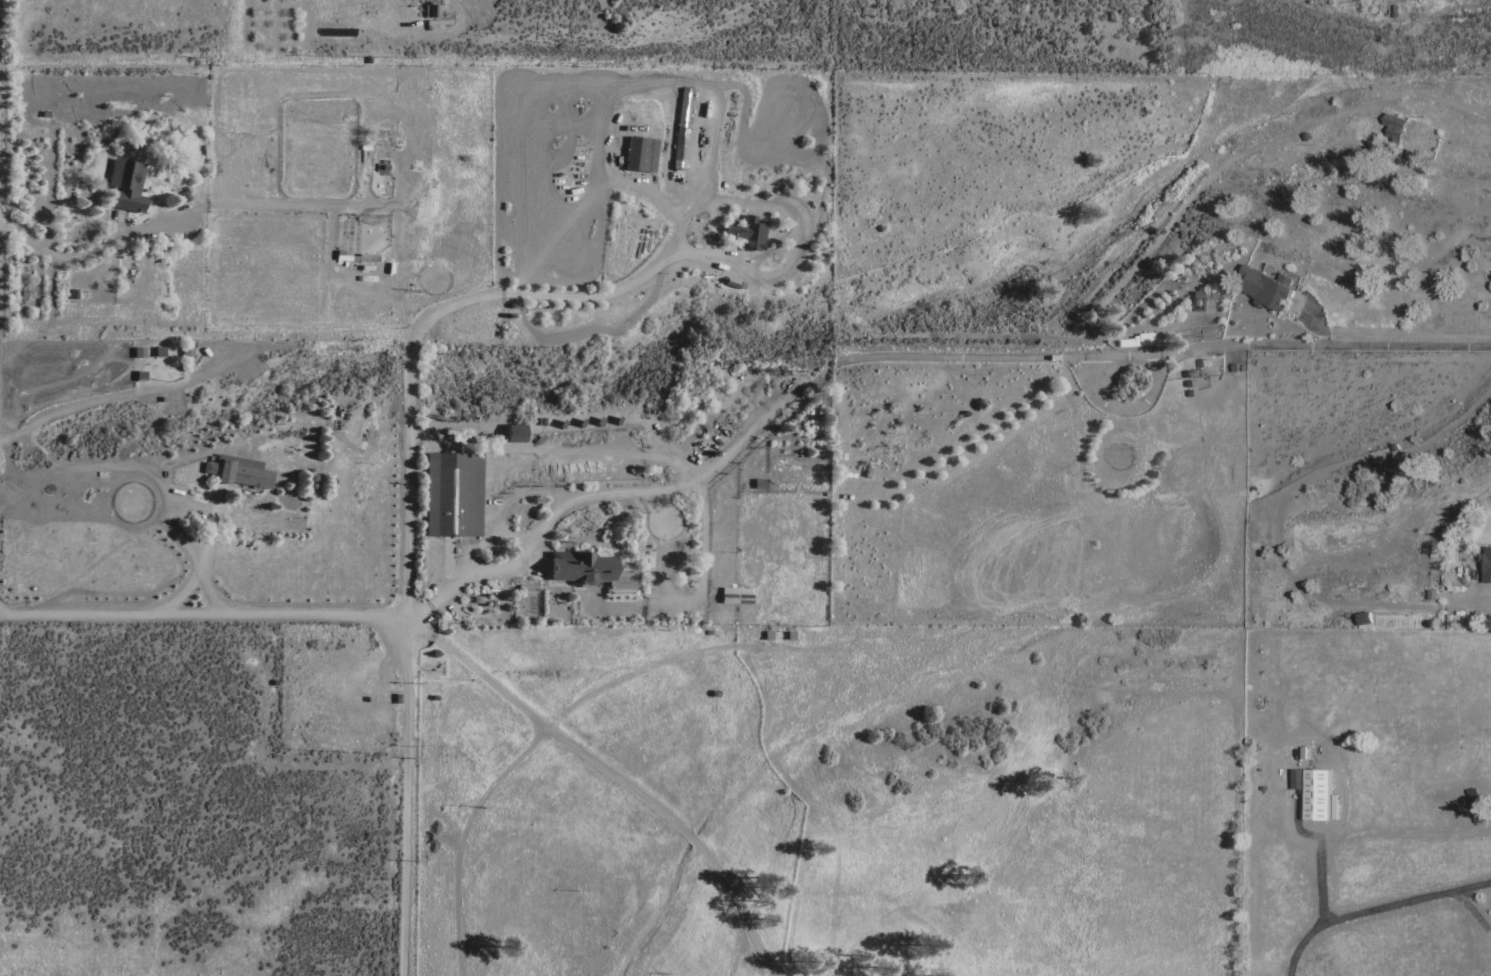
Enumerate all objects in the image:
building: (1392, 127)
building: (680, 144)
building: (641, 152)
building: (124, 186)
building: (747, 232)
road: (56, 254)
building: (1263, 288)
road: (413, 325)
building: (1135, 341)
road: (903, 359)
building: (510, 434)
building: (208, 466)
building: (243, 471)
building: (453, 495)
road: (195, 509)
building: (1485, 564)
building: (576, 567)
road: (196, 578)
building: (736, 594)
road: (204, 616)
road: (613, 778)
building: (1314, 796)
road: (406, 797)
road: (464, 836)
road: (1320, 852)
road: (1473, 911)
road: (1377, 912)

